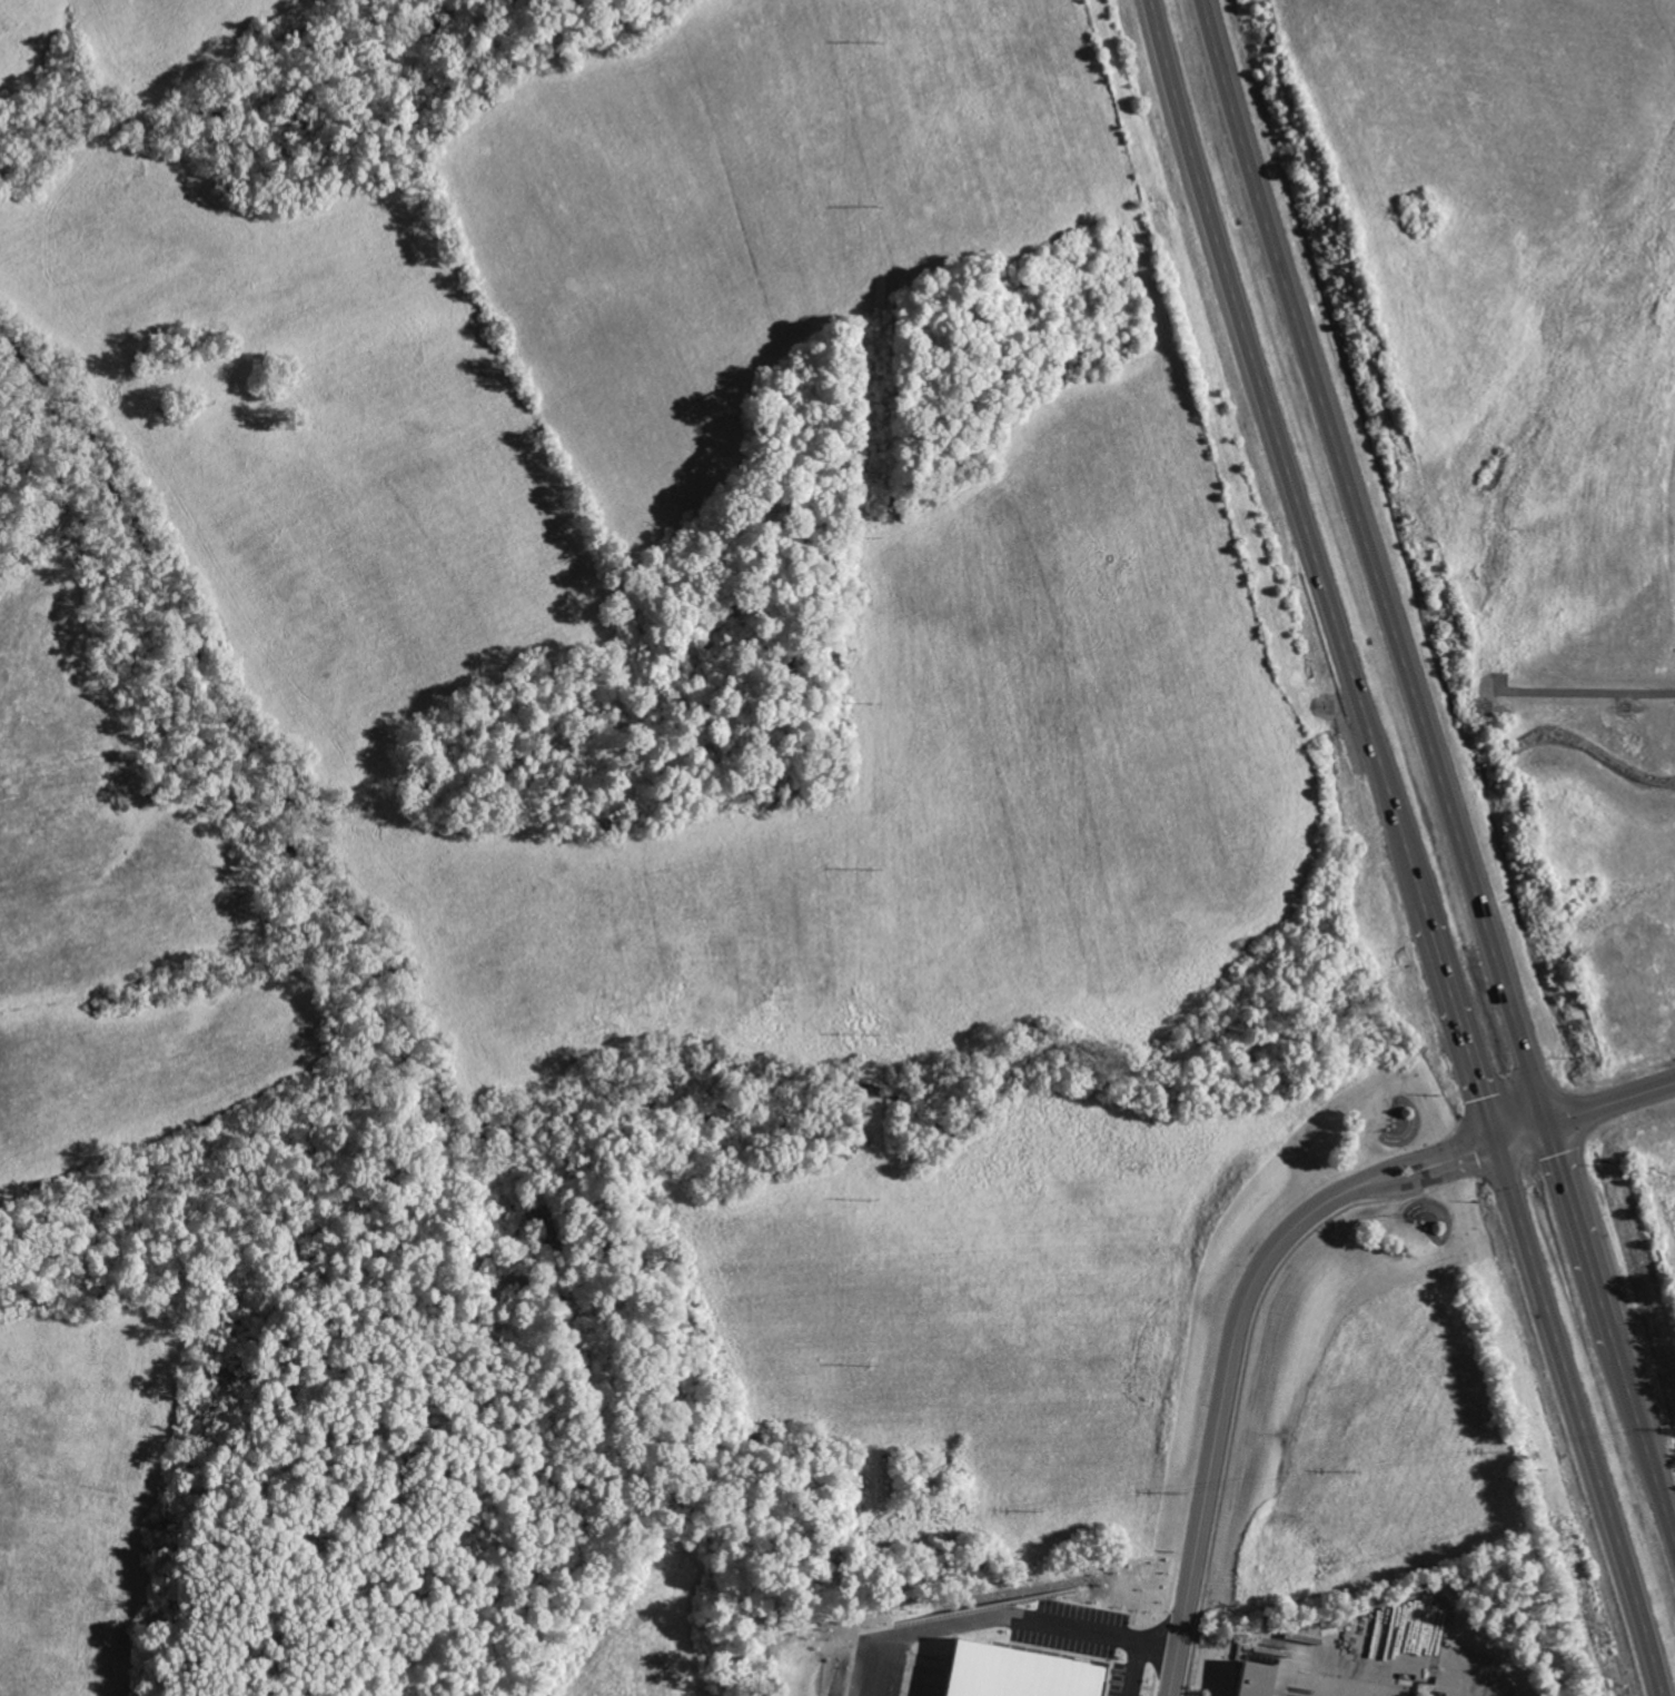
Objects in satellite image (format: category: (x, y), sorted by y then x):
road: (1283, 454)
road: (1374, 561)
road: (1587, 690)
crop: (118, 912)
road: (1459, 1024)
road: (1610, 1099)
traffic signals: (1547, 1121)
road: (1520, 1132)
traffic signals: (1495, 1143)
road: (1461, 1152)
road: (1398, 1160)
road: (1404, 1178)
road: (1578, 1222)
road: (1615, 1338)
road: (1221, 1408)
road: (1584, 1418)
road: (1647, 1441)
crop: (79, 1488)
road: (1000, 1604)
road: (1427, 1658)
road: (1128, 1663)
building: (1260, 1680)
road: (1458, 1680)

